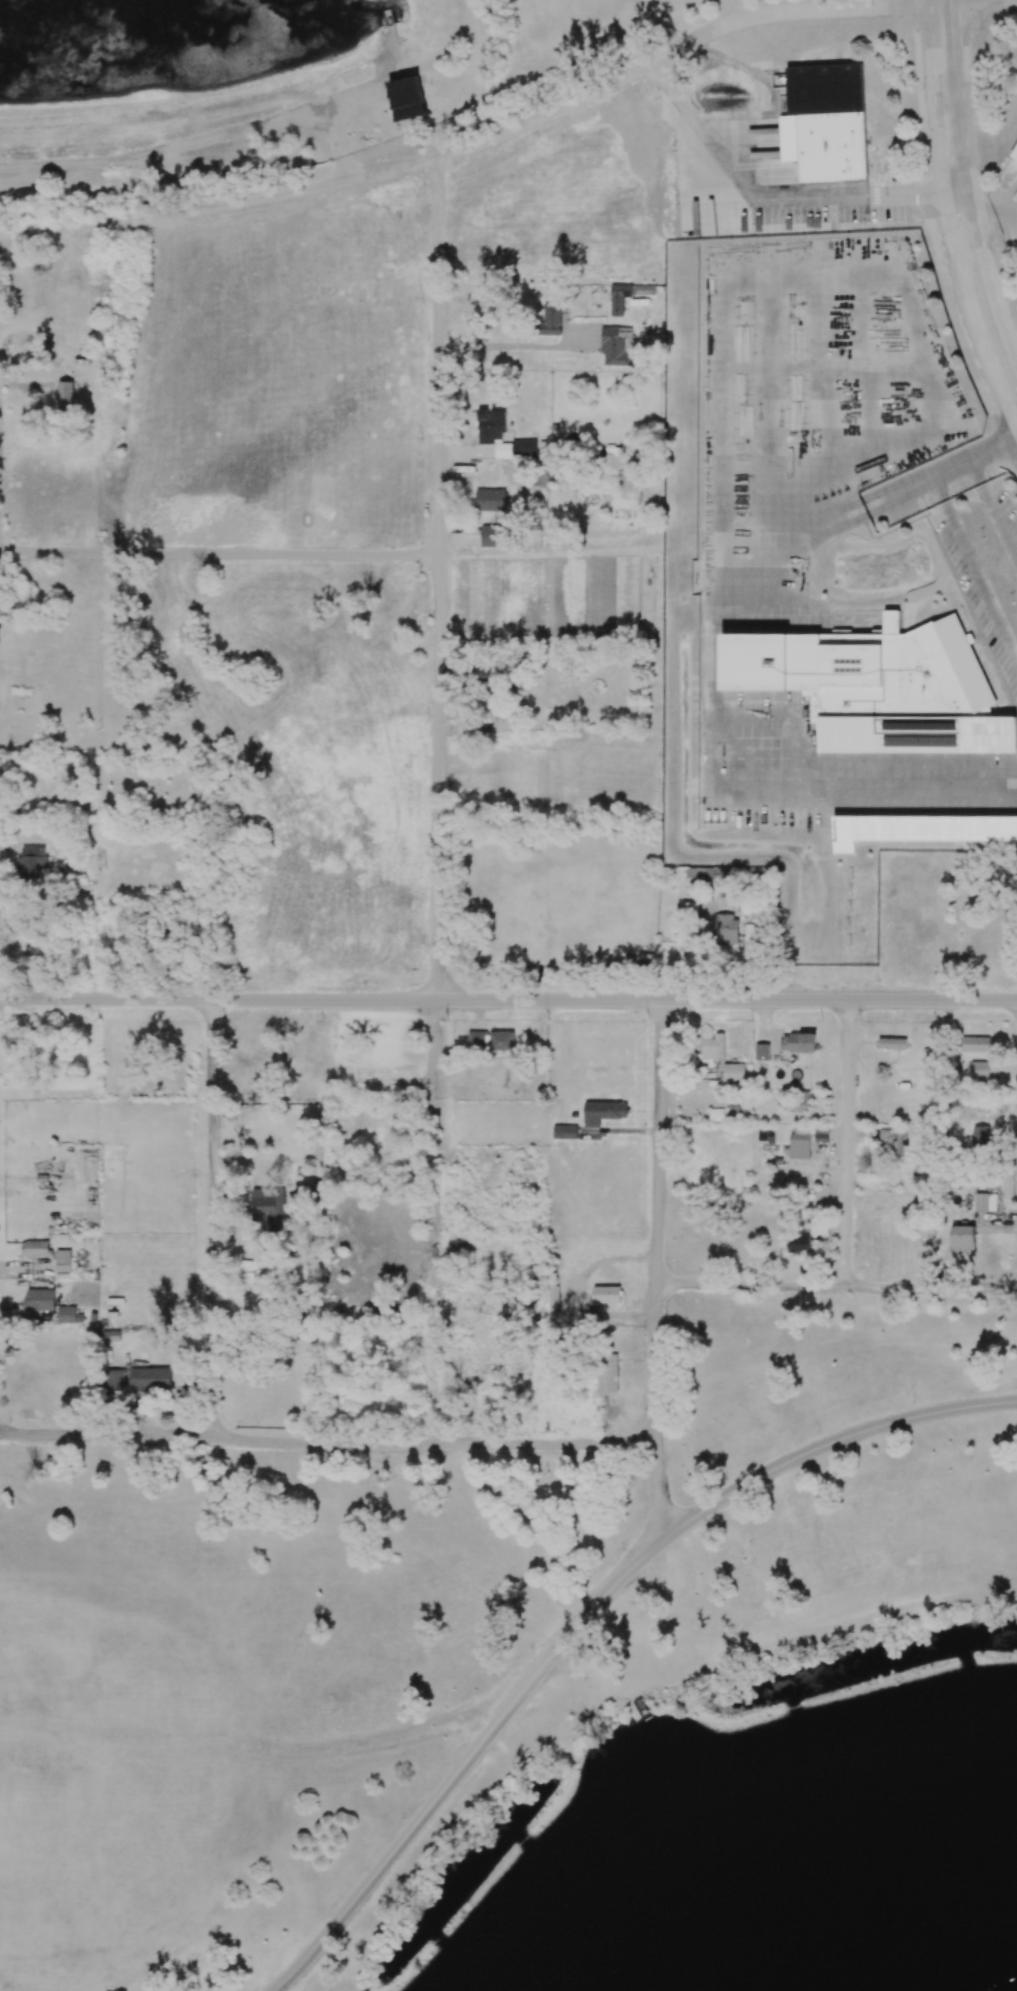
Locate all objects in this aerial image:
road: (988, 4)
road: (960, 39)
road: (730, 61)
building: (408, 98)
building: (829, 121)
road: (967, 140)
road: (475, 146)
building: (1014, 154)
building: (1014, 160)
road: (774, 204)
road: (996, 206)
road: (949, 219)
road: (933, 237)
road: (991, 280)
building: (619, 298)
building: (551, 319)
road: (514, 346)
building: (616, 346)
building: (65, 396)
building: (493, 431)
building: (524, 449)
building: (490, 499)
road: (994, 511)
building: (492, 536)
road: (219, 555)
road: (975, 568)
road: (796, 618)
road: (718, 661)
building: (879, 686)
road: (440, 800)
building: (920, 829)
building: (31, 860)
building: (727, 929)
road: (330, 999)
road: (839, 1000)
street lamp: (1, 1019)
street lamp: (224, 1019)
street lamp: (447, 1019)
street lamp: (646, 1020)
street lamp: (860, 1020)
building: (491, 1041)
building: (798, 1042)
building: (892, 1043)
building: (975, 1044)
building: (712, 1049)
building: (761, 1052)
building: (979, 1070)
building: (733, 1072)
building: (799, 1102)
building: (603, 1112)
building: (737, 1112)
building: (716, 1114)
building: (565, 1132)
building: (980, 1135)
building: (892, 1137)
building: (806, 1140)
road: (846, 1143)
building: (985, 1202)
building: (264, 1205)
road: (213, 1219)
building: (806, 1236)
building: (962, 1238)
building: (35, 1248)
building: (63, 1260)
road: (655, 1271)
road: (835, 1286)
building: (553, 1293)
building: (606, 1294)
building: (39, 1299)
building: (69, 1315)
building: (607, 1373)
building: (150, 1378)
building: (115, 1380)
street lamp: (1016, 1385)
street lamp: (914, 1402)
street lamp: (818, 1430)
road: (328, 1441)
road: (589, 1614)
park: (555, 1706)

